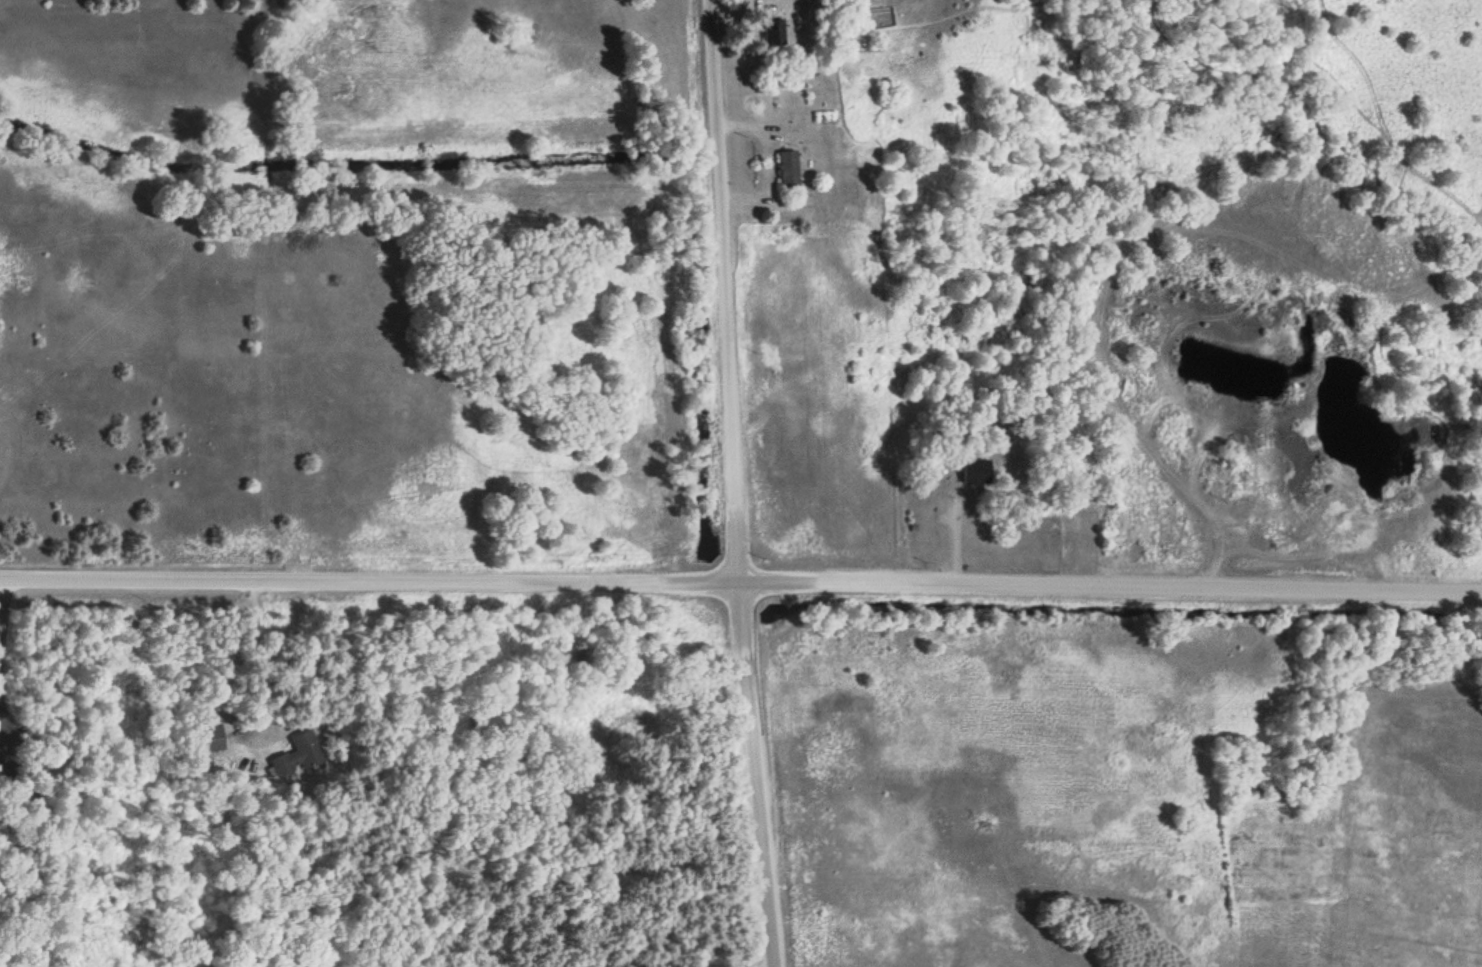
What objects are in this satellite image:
building: (776, 30)
road: (617, 94)
building: (791, 168)
building: (977, 471)
road: (731, 484)
road: (740, 585)
building: (296, 756)

